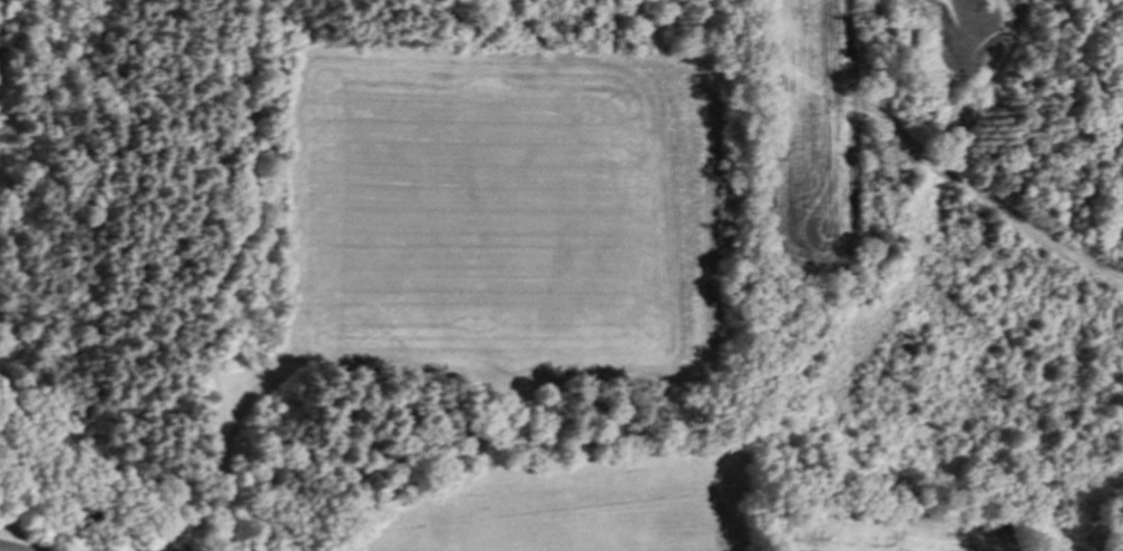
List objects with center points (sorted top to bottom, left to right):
road: (174, 120)
road: (48, 166)
park: (506, 208)
road: (254, 233)
park: (379, 275)
road: (123, 307)
road: (17, 340)
road: (228, 445)
park: (561, 509)
parking lot: (19, 547)

